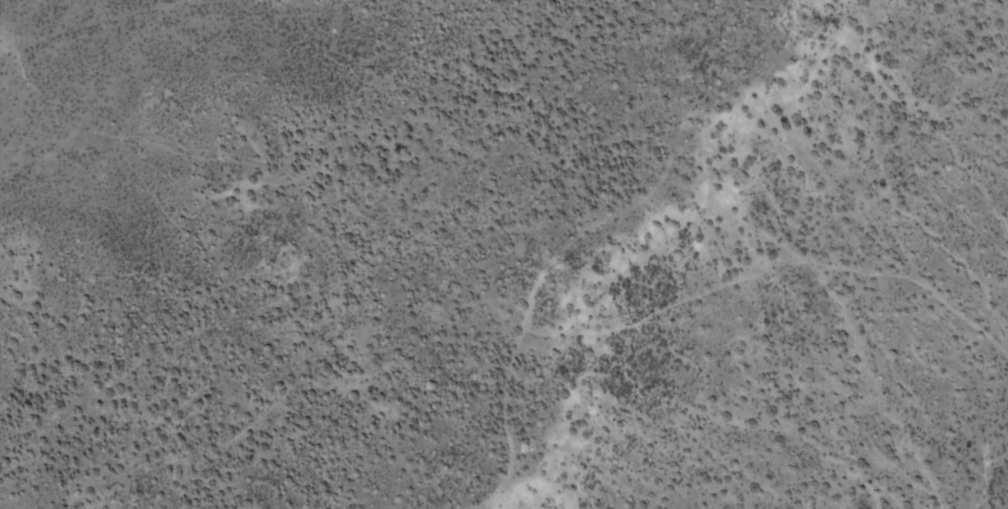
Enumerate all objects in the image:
road: (569, 241)

